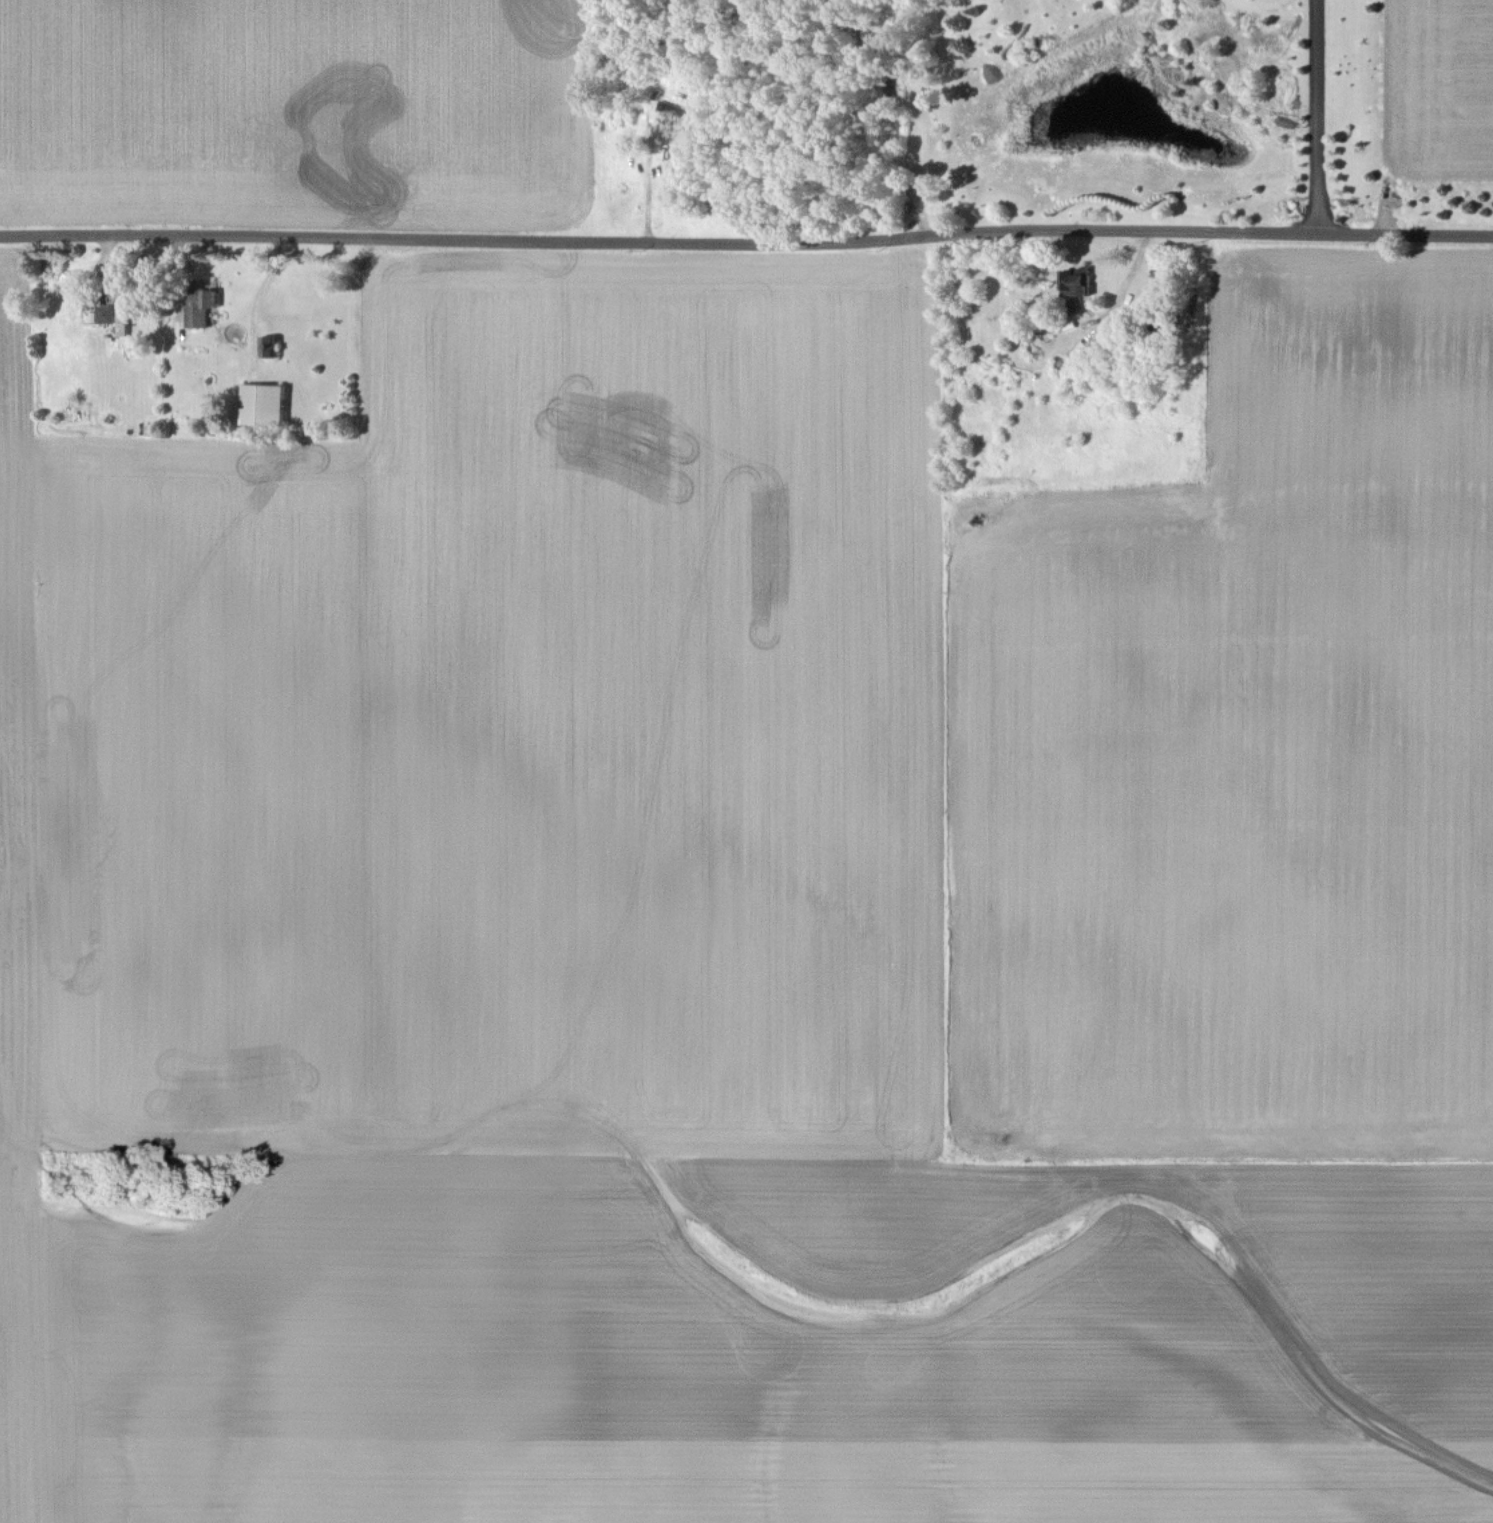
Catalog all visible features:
road: (1319, 117)
road: (747, 245)
building: (1075, 281)
building: (212, 297)
building: (106, 313)
building: (265, 403)

